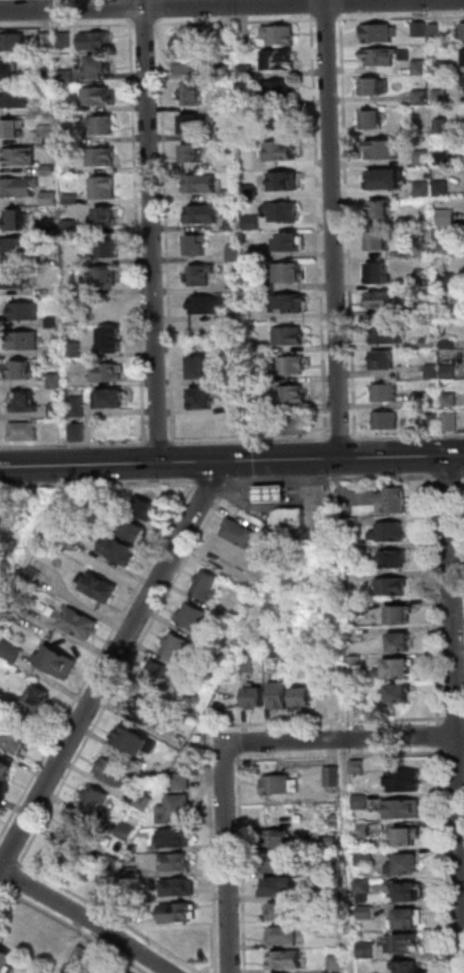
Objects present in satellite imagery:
road: (231, 5)
road: (312, 6)
road: (342, 6)
road: (160, 8)
road: (130, 9)
road: (400, 18)
road: (325, 20)
road: (234, 22)
road: (67, 25)
road: (145, 25)
building: (417, 28)
building: (433, 29)
building: (462, 30)
building: (377, 31)
building: (244, 33)
building: (227, 34)
building: (280, 34)
building: (194, 37)
building: (46, 40)
building: (66, 40)
building: (95, 41)
building: (13, 42)
building: (380, 54)
building: (462, 55)
building: (280, 59)
building: (102, 63)
building: (190, 63)
building: (442, 65)
building: (417, 66)
building: (8, 69)
building: (247, 71)
building: (226, 73)
building: (45, 76)
building: (67, 77)
building: (371, 85)
building: (279, 90)
building: (194, 93)
building: (438, 95)
building: (98, 96)
building: (419, 96)
building: (13, 99)
building: (247, 104)
building: (45, 108)
building: (69, 108)
building: (371, 118)
building: (192, 122)
building: (104, 124)
building: (440, 125)
building: (12, 127)
building: (227, 129)
building: (47, 133)
building: (70, 138)
building: (382, 148)
building: (280, 150)
building: (193, 152)
building: (19, 156)
building: (102, 156)
building: (421, 156)
building: (442, 156)
building: (49, 169)
building: (428, 174)
building: (387, 177)
building: (283, 181)
building: (202, 184)
building: (439, 186)
building: (20, 187)
building: (421, 187)
building: (105, 188)
building: (249, 193)
building: (231, 194)
building: (50, 199)
building: (72, 200)
building: (382, 208)
building: (283, 213)
building: (201, 215)
building: (108, 216)
building: (446, 216)
building: (17, 218)
building: (407, 221)
building: (254, 223)
building: (234, 225)
road: (348, 226)
road: (319, 227)
building: (71, 228)
road: (333, 229)
building: (52, 230)
road: (166, 230)
road: (135, 231)
road: (152, 231)
building: (377, 239)
building: (290, 241)
building: (197, 245)
building: (447, 247)
building: (18, 248)
building: (111, 248)
building: (414, 250)
building: (234, 254)
building: (53, 258)
building: (289, 272)
building: (376, 272)
building: (200, 275)
building: (103, 277)
building: (17, 278)
building: (446, 278)
building: (263, 286)
building: (73, 290)
building: (53, 291)
building: (258, 299)
building: (379, 299)
building: (292, 303)
building: (207, 304)
building: (107, 306)
building: (425, 306)
building: (24, 311)
building: (54, 322)
building: (385, 333)
building: (290, 336)
building: (113, 338)
building: (25, 341)
building: (261, 348)
building: (75, 350)
building: (56, 351)
building: (381, 359)
building: (293, 365)
building: (200, 367)
building: (22, 369)
building: (430, 370)
building: (108, 371)
building: (447, 371)
building: (262, 378)
building: (57, 380)
building: (382, 391)
building: (292, 395)
building: (202, 398)
building: (417, 398)
building: (448, 398)
building: (111, 399)
building: (24, 401)
building: (78, 406)
building: (238, 407)
building: (57, 410)
building: (430, 418)
building: (383, 419)
building: (447, 420)
building: (258, 424)
building: (294, 424)
building: (25, 431)
building: (79, 432)
road: (333, 434)
road: (346, 434)
road: (354, 434)
road: (410, 436)
road: (248, 441)
road: (158, 442)
road: (74, 445)
road: (356, 447)
road: (327, 449)
road: (174, 453)
road: (456, 454)
road: (224, 461)
road: (455, 476)
road: (463, 476)
road: (194, 491)
building: (271, 493)
road: (198, 494)
building: (387, 500)
building: (144, 507)
building: (293, 520)
building: (133, 528)
building: (390, 531)
building: (239, 533)
building: (119, 549)
building: (394, 558)
building: (33, 574)
road: (145, 575)
building: (99, 585)
building: (207, 585)
building: (391, 586)
building: (359, 610)
building: (13, 614)
building: (401, 614)
building: (194, 617)
building: (79, 623)
building: (401, 640)
building: (177, 648)
building: (223, 648)
building: (274, 649)
building: (11, 651)
building: (355, 663)
road: (109, 665)
building: (247, 665)
building: (54, 666)
building: (396, 668)
building: (198, 674)
building: (165, 676)
building: (398, 693)
road: (456, 694)
building: (280, 695)
building: (255, 696)
building: (304, 696)
building: (357, 696)
building: (40, 698)
building: (146, 709)
road: (455, 718)
road: (221, 729)
road: (210, 731)
building: (15, 736)
road: (343, 738)
building: (133, 739)
road: (439, 741)
road: (230, 743)
road: (456, 753)
road: (342, 757)
road: (226, 760)
road: (213, 761)
building: (358, 766)
building: (4, 770)
building: (111, 770)
building: (333, 776)
building: (183, 781)
building: (405, 781)
building: (280, 785)
building: (142, 800)
building: (97, 802)
building: (361, 802)
building: (176, 808)
building: (403, 809)
building: (336, 819)
building: (77, 830)
building: (363, 830)
building: (126, 831)
building: (409, 835)
building: (176, 837)
building: (276, 838)
building: (328, 842)
building: (135, 848)
road: (3, 854)
road: (227, 857)
building: (366, 858)
road: (443, 859)
building: (174, 861)
building: (279, 862)
building: (112, 863)
road: (243, 863)
building: (405, 864)
building: (335, 865)
building: (131, 871)
road: (10, 882)
building: (278, 885)
building: (176, 886)
building: (364, 886)
road: (1, 888)
building: (336, 888)
building: (408, 891)
road: (3, 893)
building: (284, 910)
building: (175, 912)
building: (365, 912)
road: (87, 918)
building: (408, 918)
road: (77, 927)
building: (285, 935)
building: (406, 943)
building: (366, 950)
building: (82, 954)
building: (287, 959)
building: (6, 960)
building: (337, 962)
building: (407, 967)
building: (339, 972)

